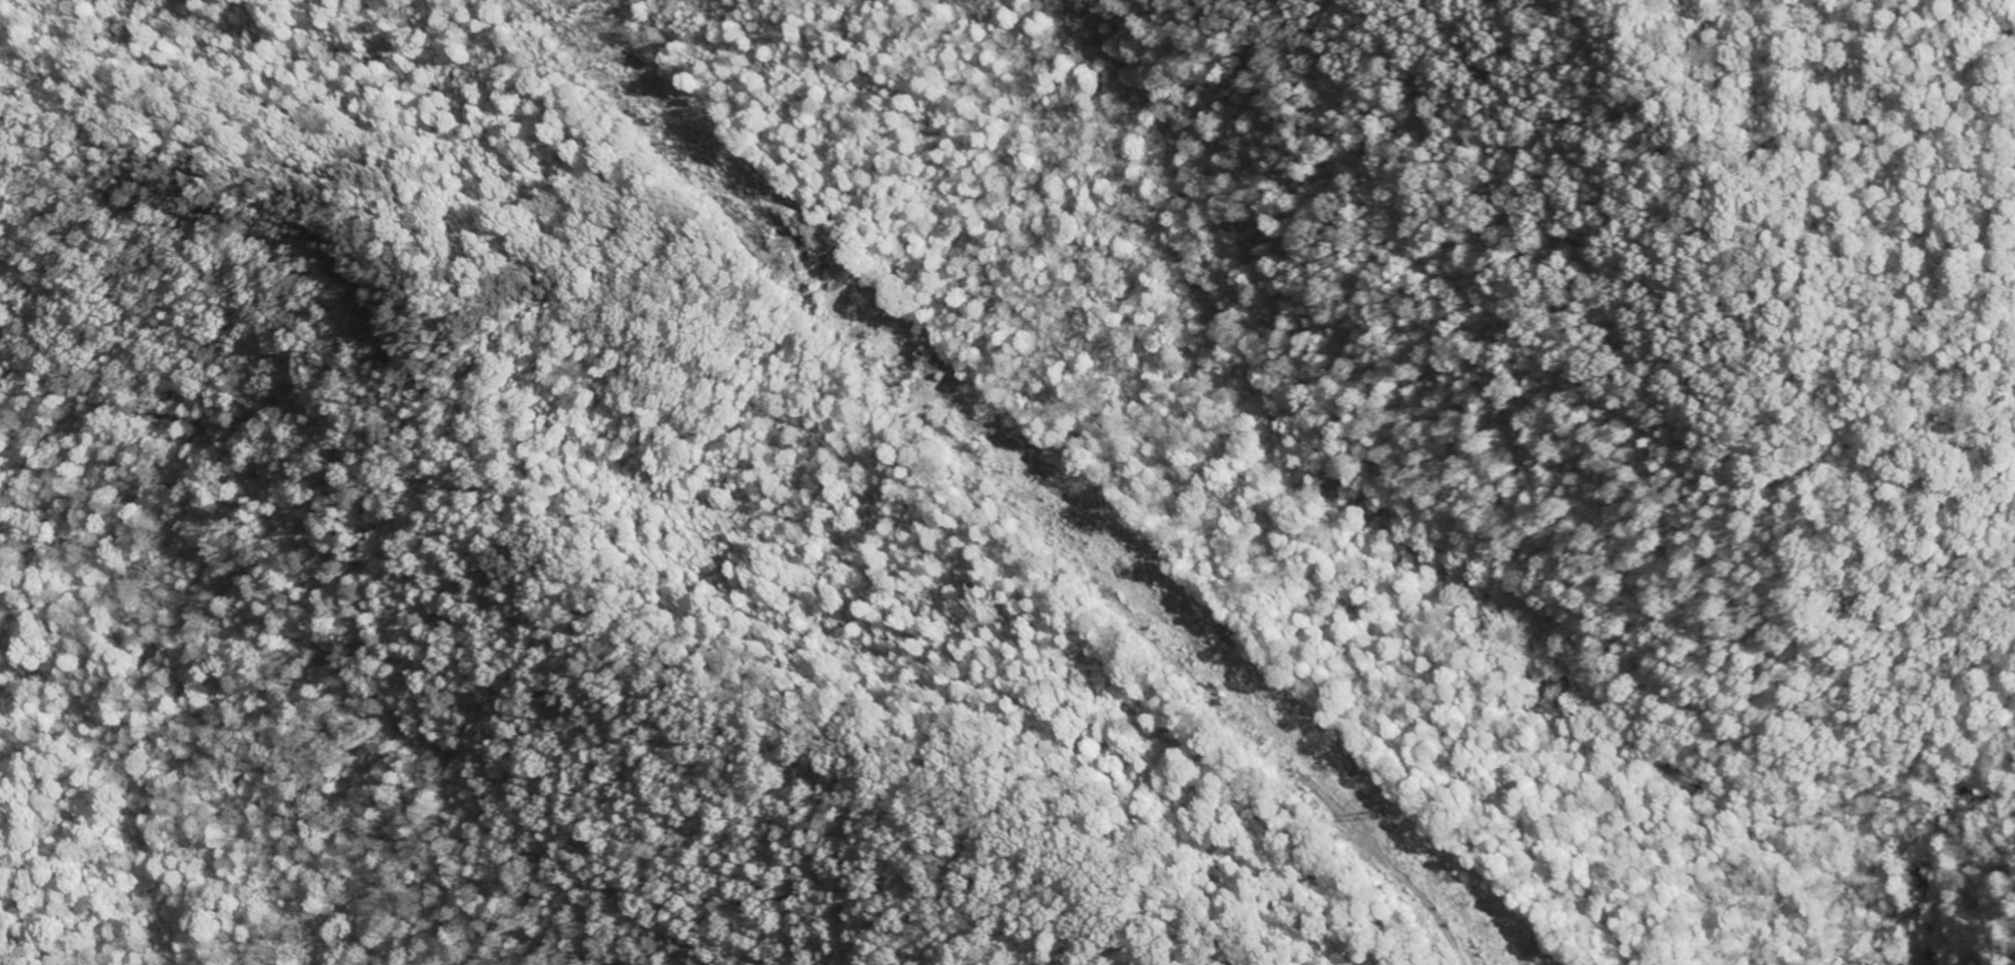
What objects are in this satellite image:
power tower: (777, 244)
road: (1907, 823)

